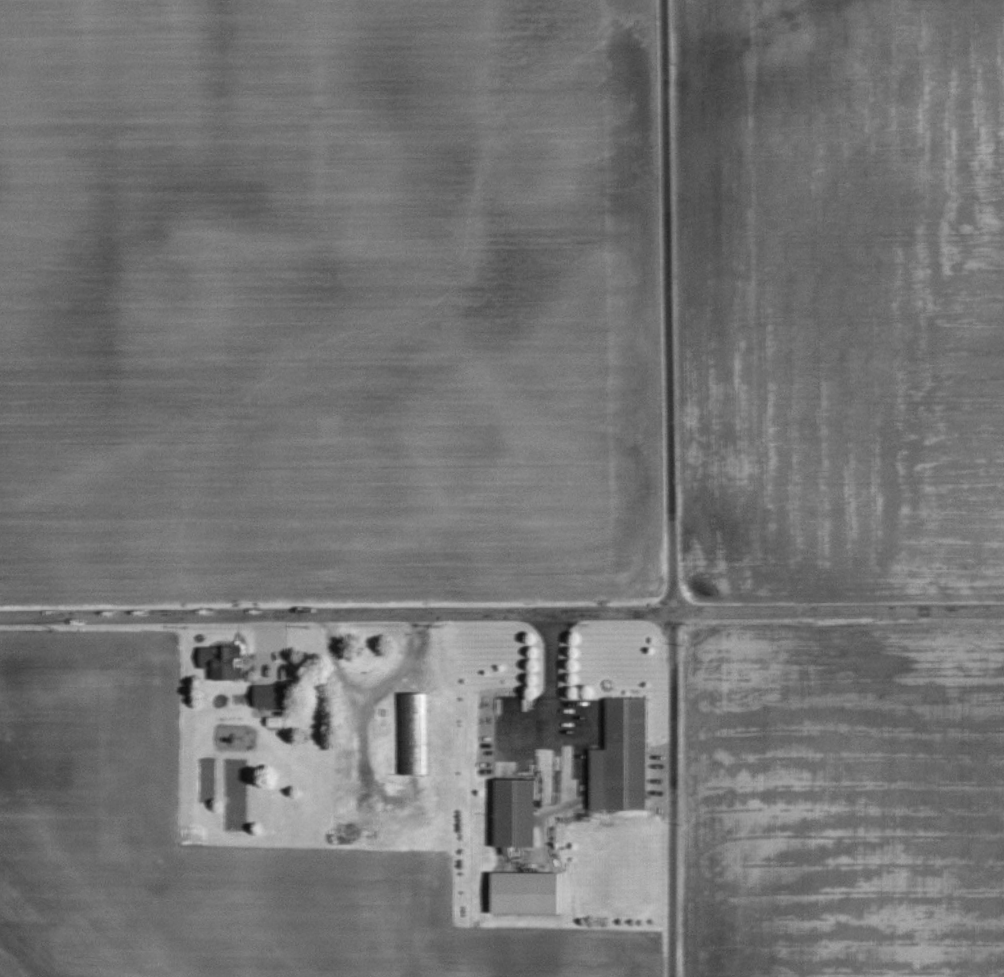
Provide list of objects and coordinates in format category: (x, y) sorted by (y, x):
road: (659, 488)
road: (502, 614)
building: (221, 661)
road: (550, 678)
building: (265, 695)
building: (413, 733)
building: (620, 757)
building: (514, 812)
building: (524, 892)

